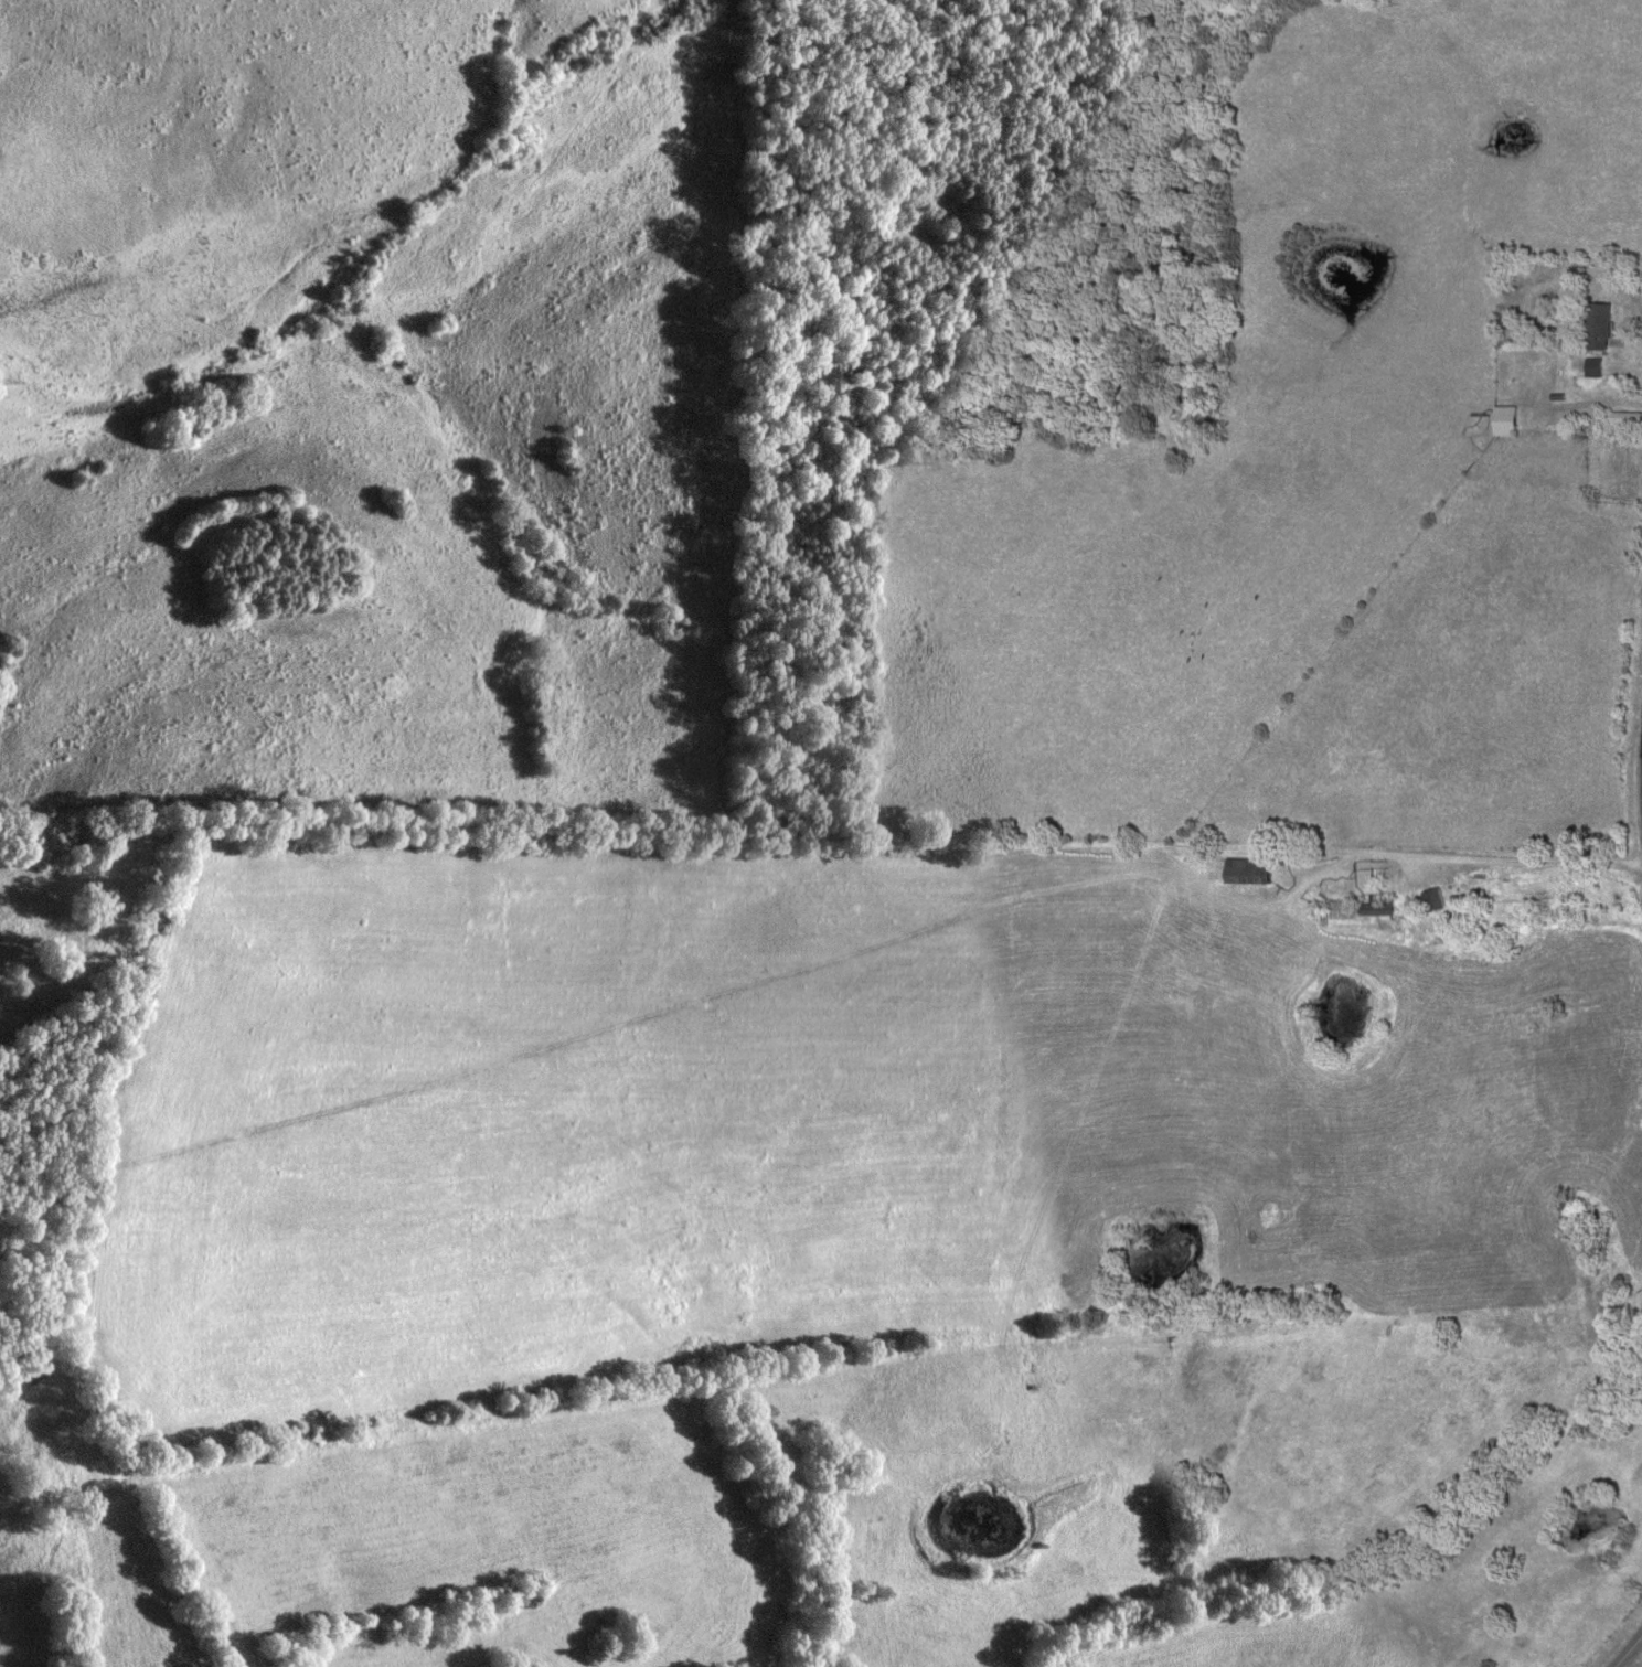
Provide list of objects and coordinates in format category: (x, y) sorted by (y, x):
building: (1602, 328)
building: (1595, 368)
building: (1508, 421)
building: (1249, 872)
building: (1379, 908)
road: (1629, 1649)

